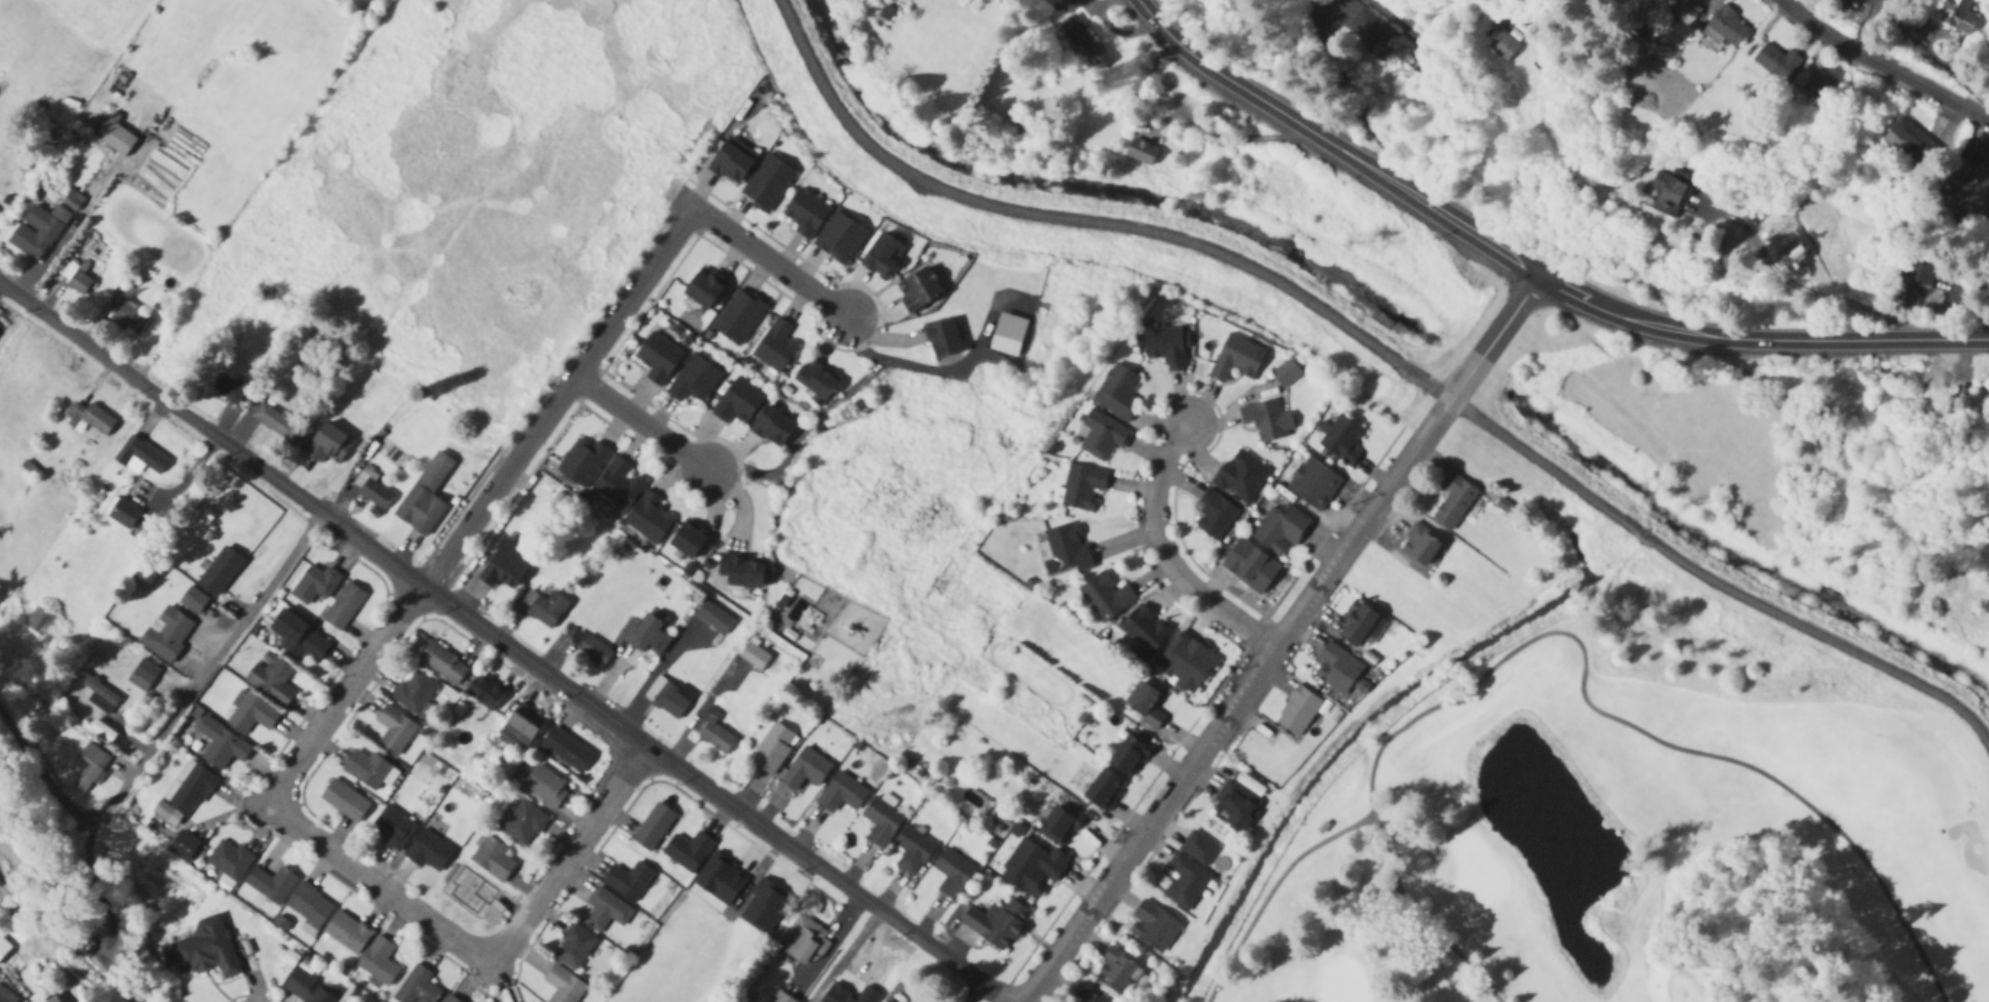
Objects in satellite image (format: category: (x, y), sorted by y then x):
building: (1074, 2)
building: (1957, 15)
building: (1725, 28)
building: (1373, 33)
building: (1083, 44)
building: (1501, 46)
building: (1777, 62)
road: (1885, 65)
building: (1816, 86)
road: (1351, 97)
building: (1018, 128)
building: (115, 136)
building: (1912, 138)
building: (1141, 152)
building: (731, 165)
building: (768, 184)
building: (1967, 190)
building: (1667, 194)
building: (73, 201)
building: (806, 212)
road: (1087, 220)
building: (38, 232)
building: (841, 239)
building: (1725, 252)
building: (883, 257)
road: (771, 260)
building: (1793, 260)
building: (1922, 270)
road: (1526, 272)
building: (74, 278)
building: (705, 288)
building: (919, 290)
road: (1842, 303)
building: (739, 317)
building: (131, 318)
building: (943, 340)
building: (775, 346)
building: (1165, 347)
building: (659, 358)
building: (1237, 358)
building: (1286, 374)
building: (694, 380)
building: (816, 380)
building: (1986, 384)
building: (227, 388)
building: (1118, 393)
road: (560, 395)
building: (739, 402)
building: (89, 420)
building: (1265, 420)
building: (276, 423)
road: (641, 425)
building: (772, 427)
building: (1103, 435)
building: (1342, 440)
building: (141, 455)
building: (583, 462)
building: (1242, 476)
building: (620, 484)
building: (1313, 484)
building: (1083, 486)
building: (373, 491)
building: (1456, 497)
building: (1504, 502)
building: (122, 513)
road: (327, 515)
building: (1214, 515)
building: (649, 518)
building: (1281, 528)
building: (688, 540)
building: (1420, 543)
road: (1165, 550)
building: (1063, 551)
building: (506, 565)
building: (1251, 566)
building: (741, 571)
building: (222, 572)
building: (147, 575)
road: (1715, 577)
building: (315, 585)
building: (1105, 597)
building: (193, 601)
building: (344, 606)
building: (544, 608)
building: (714, 618)
building: (40, 621)
building: (1360, 623)
building: (1144, 630)
building: (167, 634)
building: (647, 635)
road: (1277, 637)
building: (299, 638)
building: (594, 650)
road: (1583, 652)
building: (754, 656)
building: (1186, 663)
building: (443, 664)
building: (1341, 667)
building: (144, 676)
building: (271, 679)
building: (96, 689)
building: (415, 692)
building: (484, 692)
building: (668, 697)
building: (1145, 704)
building: (1299, 711)
building: (252, 714)
building: (522, 726)
road: (170, 727)
building: (395, 730)
building: (102, 731)
building: (714, 736)
building: (221, 745)
building: (774, 747)
building: (566, 750)
building: (1128, 755)
building: (90, 767)
building: (366, 769)
building: (806, 769)
building: (920, 771)
building: (546, 786)
park: (1574, 787)
building: (189, 789)
building: (1104, 789)
building: (842, 793)
building: (1239, 798)
building: (345, 801)
building: (881, 821)
building: (524, 823)
building: (1060, 823)
building: (1323, 824)
building: (653, 826)
building: (392, 828)
building: (188, 841)
building: (1197, 848)
building: (913, 849)
building: (688, 850)
building: (430, 851)
building: (493, 858)
building: (229, 859)
building: (1033, 867)
building: (952, 872)
road: (827, 876)
building: (1186, 878)
building: (628, 879)
road: (375, 882)
building: (0, 883)
building: (272, 884)
road: (1272, 890)
building: (309, 905)
building: (606, 910)
building: (997, 922)
building: (1153, 923)
building: (347, 932)
building: (804, 940)
building: (4, 947)
building: (574, 947)
building: (205, 950)
building: (379, 962)
building: (1121, 965)
building: (564, 985)
building: (417, 987)
building: (307, 990)
building: (1090, 994)
building: (7, 996)
building: (110, 996)
building: (780, 997)
building: (450, 999)
building: (888, 1001)

